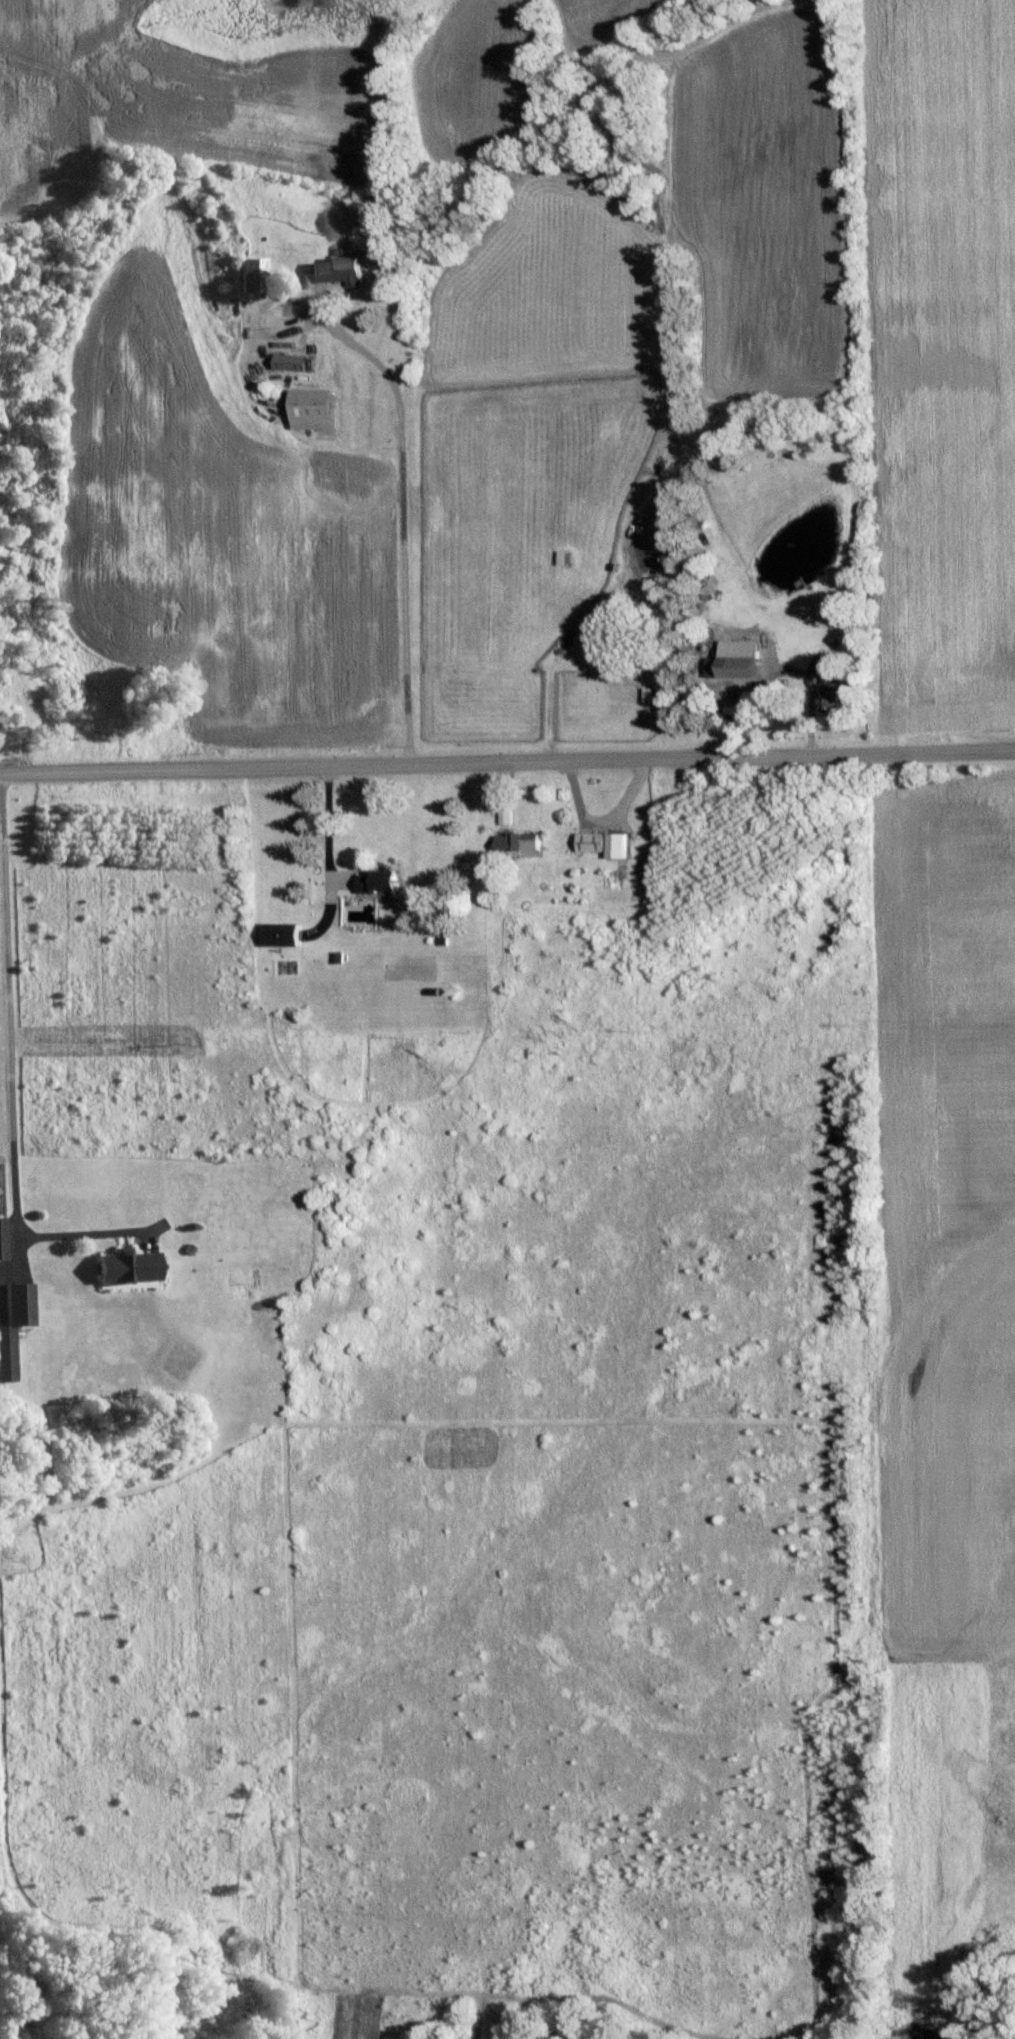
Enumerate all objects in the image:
building: (337, 270)
building: (252, 274)
building: (314, 407)
road: (398, 529)
building: (735, 661)
building: (836, 685)
building: (9, 716)
road: (507, 764)
building: (505, 815)
building: (521, 841)
building: (605, 842)
building: (382, 879)
building: (285, 933)
road: (8, 1073)
building: (4, 1236)
building: (15, 1324)

